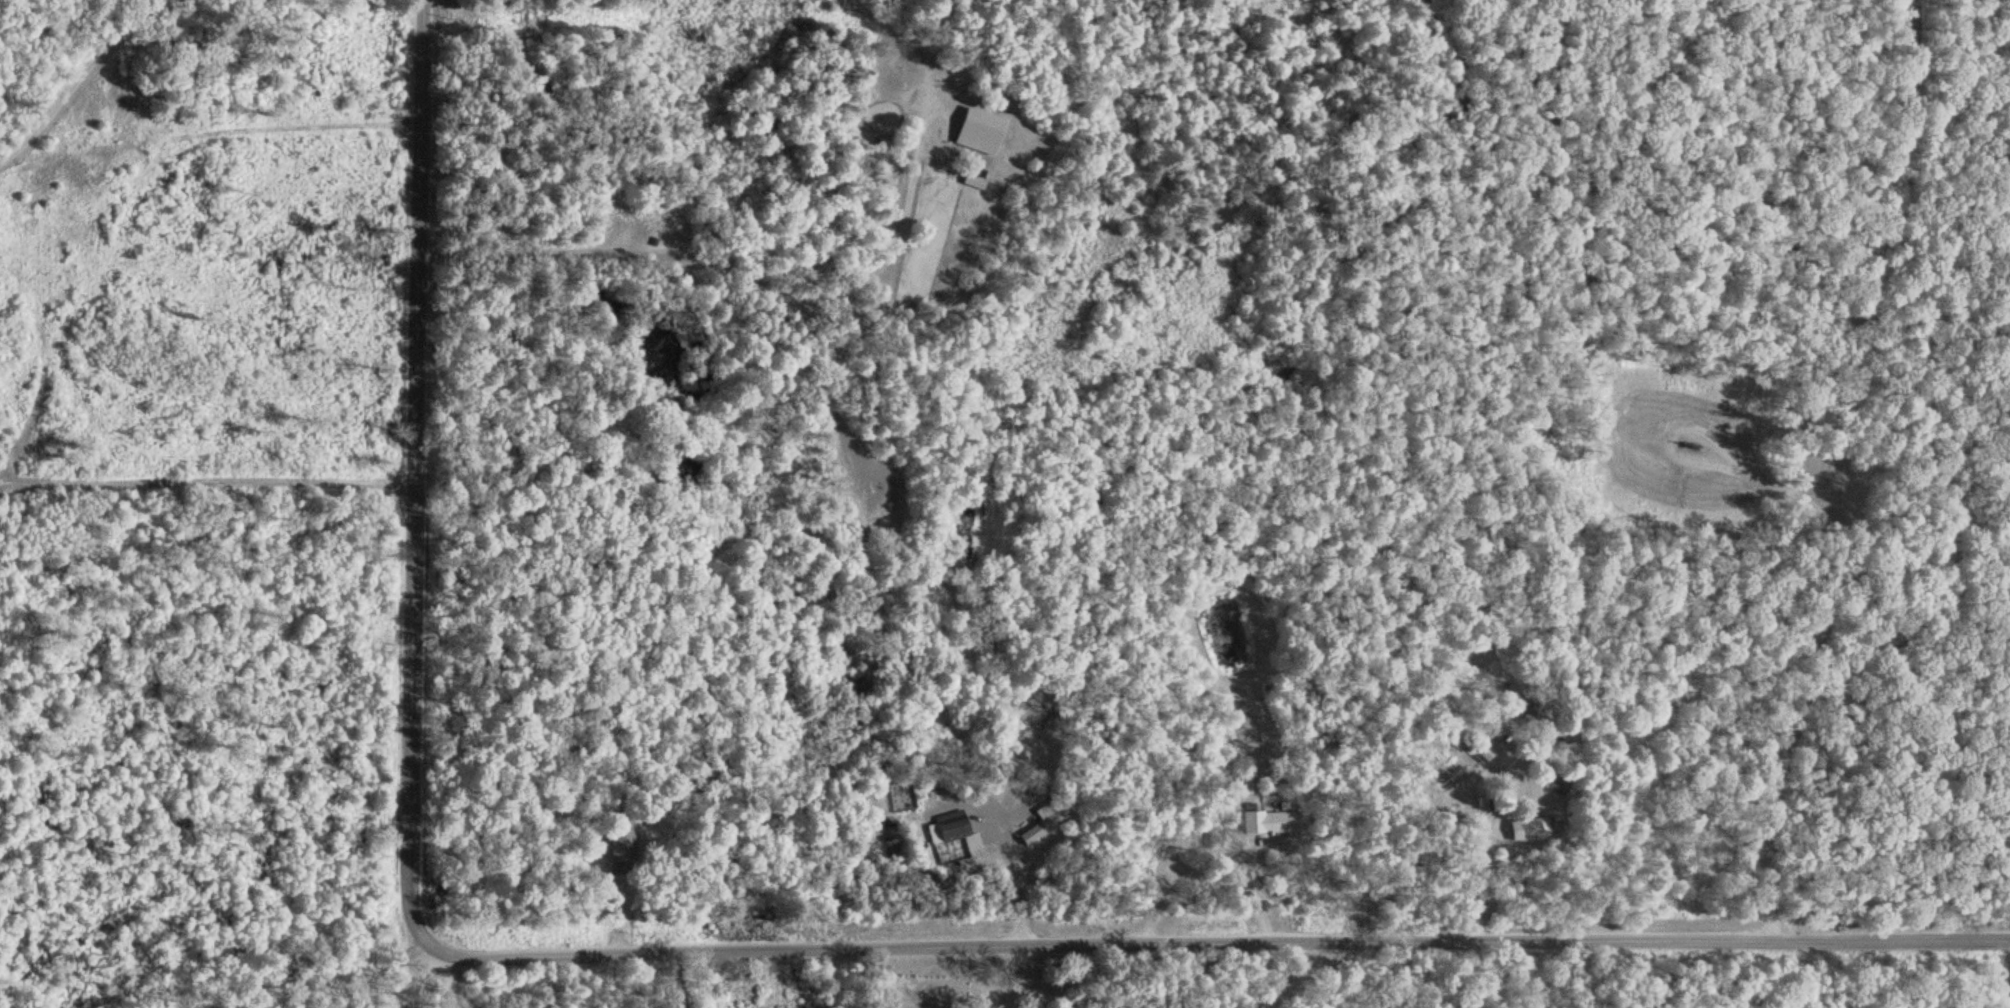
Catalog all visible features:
road: (70, 78)
building: (977, 133)
petroleum well: (1683, 446)
road: (417, 471)
building: (1270, 823)
building: (949, 827)
building: (1040, 828)
building: (619, 846)
road: (1211, 942)
road: (412, 975)
road: (1532, 975)

